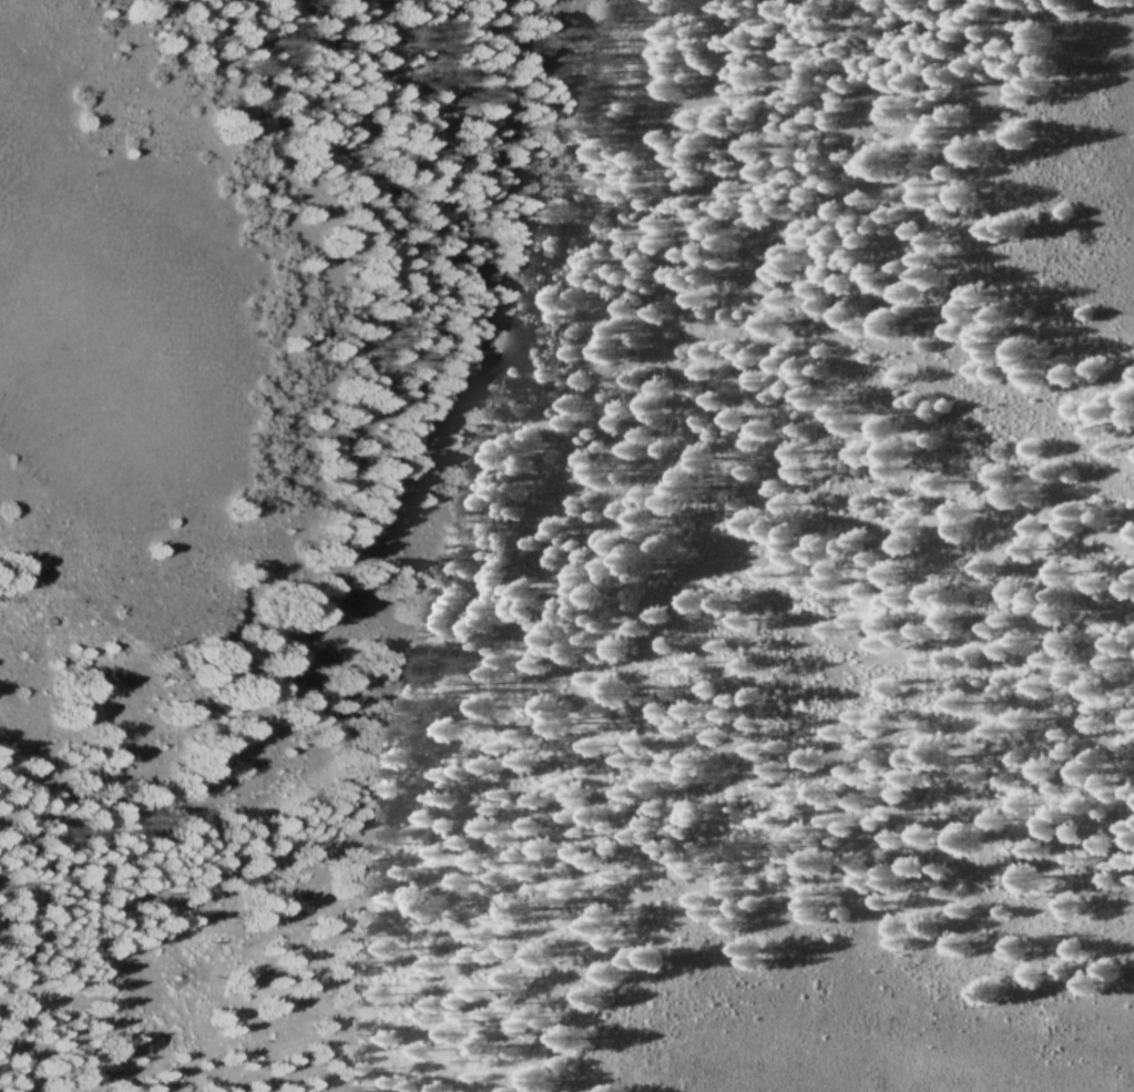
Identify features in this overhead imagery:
road: (462, 581)

